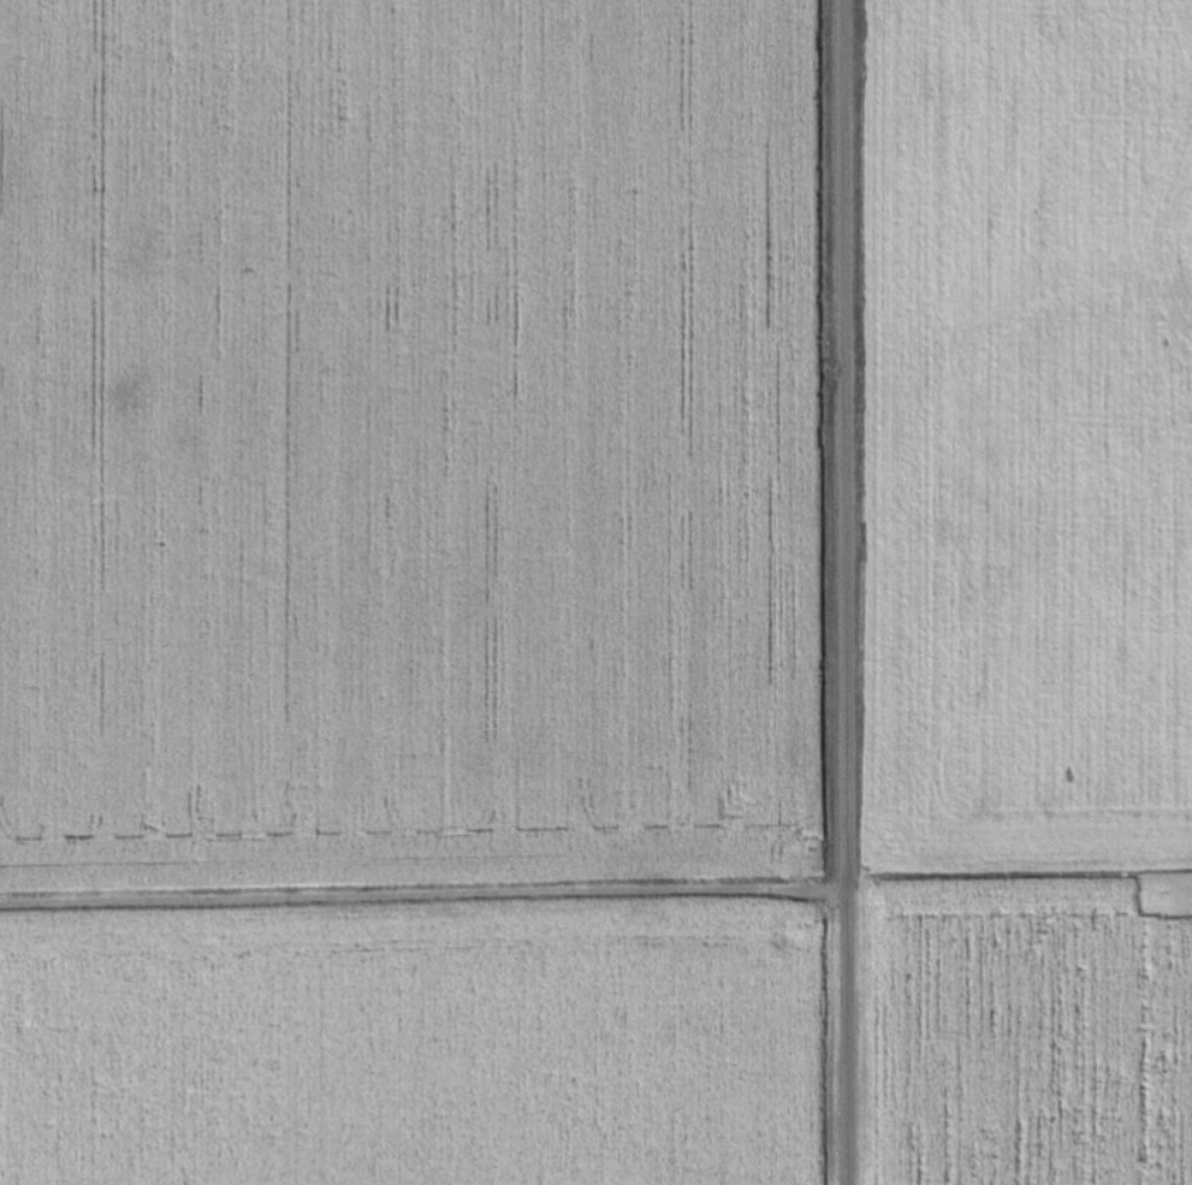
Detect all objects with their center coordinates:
road: (842, 592)

